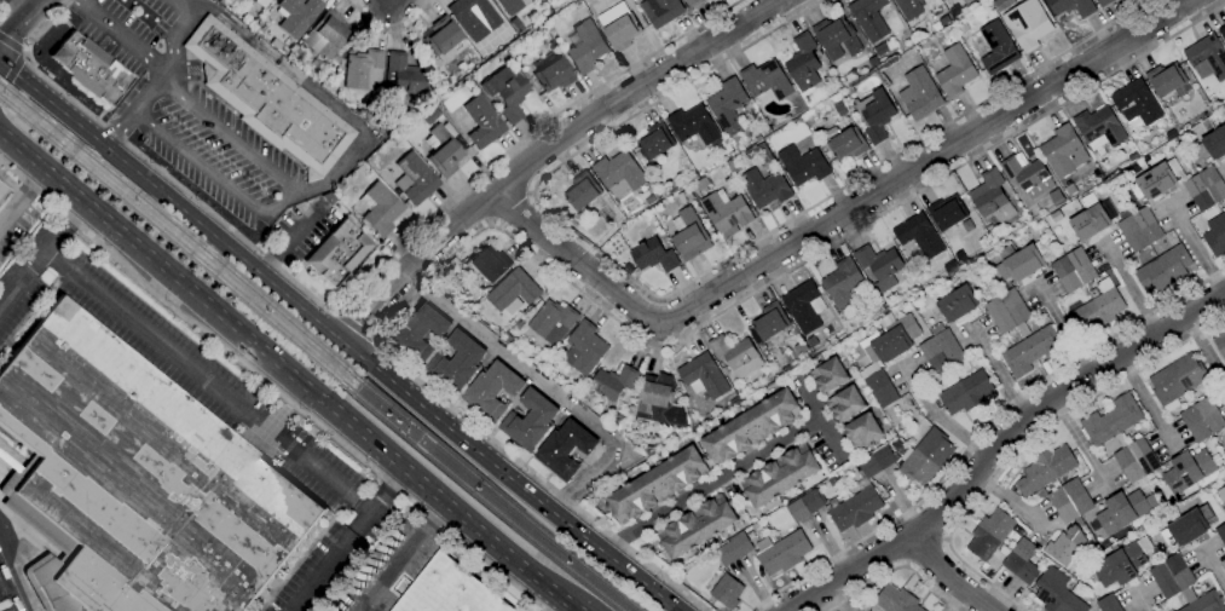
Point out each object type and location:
building: (252, 0)
building: (937, 0)
road: (391, 1)
building: (692, 2)
building: (1103, 2)
gas station: (4, 4)
building: (1001, 4)
road: (25, 6)
building: (510, 6)
building: (1071, 6)
road: (7, 8)
building: (908, 8)
building: (660, 11)
building: (297, 15)
building: (473, 17)
building: (868, 18)
road: (22, 24)
building: (1027, 24)
building: (618, 27)
building: (963, 28)
parking lot: (128, 30)
road: (388, 31)
building: (1221, 31)
building: (327, 35)
building: (441, 36)
road: (126, 38)
building: (836, 38)
road: (11, 45)
building: (276, 45)
building: (585, 47)
building: (996, 47)
building: (879, 50)
road: (25, 53)
building: (1207, 56)
building: (802, 63)
building: (91, 68)
building: (362, 68)
road: (11, 71)
building: (954, 71)
building: (404, 74)
building: (554, 75)
road: (167, 76)
building: (1165, 79)
building: (765, 80)
building: (919, 93)
building: (510, 98)
building: (267, 99)
road: (48, 103)
building: (1136, 103)
building: (727, 106)
building: (839, 110)
building: (873, 115)
building: (429, 116)
building: (483, 122)
building: (692, 125)
building: (1099, 126)
road: (231, 138)
building: (654, 142)
building: (1215, 143)
building: (846, 145)
road: (544, 150)
building: (1061, 150)
building: (443, 151)
parking lot: (220, 152)
building: (763, 152)
building: (802, 165)
building: (730, 166)
road: (336, 169)
building: (619, 172)
building: (1023, 173)
road: (214, 174)
building: (416, 178)
building: (700, 183)
building: (1173, 184)
building: (1212, 184)
building: (764, 188)
building: (582, 191)
building: (2, 192)
building: (683, 196)
road: (23, 197)
building: (990, 197)
building: (1056, 197)
building: (329, 198)
building: (649, 200)
road: (510, 208)
building: (381, 209)
building: (724, 212)
building: (946, 213)
road: (832, 218)
building: (1088, 221)
building: (1146, 225)
railway: (181, 234)
building: (1131, 235)
building: (689, 236)
building: (918, 236)
building: (1215, 236)
road: (291, 241)
railway: (177, 247)
building: (336, 253)
road: (1200, 254)
road: (42, 255)
building: (653, 255)
building: (878, 261)
building: (489, 264)
building: (1019, 264)
building: (1080, 266)
building: (949, 267)
building: (1163, 270)
building: (1065, 275)
road: (686, 282)
building: (842, 284)
building: (513, 290)
road: (1131, 292)
road: (351, 299)
building: (957, 304)
building: (802, 306)
building: (1098, 307)
road: (606, 313)
building: (551, 318)
building: (769, 322)
road: (358, 323)
road: (354, 329)
building: (417, 333)
road: (1064, 333)
building: (1021, 334)
building: (505, 338)
building: (892, 340)
building: (1219, 344)
building: (585, 347)
building: (948, 347)
building: (732, 351)
road: (1204, 351)
building: (932, 357)
building: (456, 363)
road: (288, 370)
road: (1001, 374)
building: (703, 375)
building: (827, 375)
road: (385, 379)
building: (1177, 379)
road: (207, 381)
building: (613, 382)
road: (271, 386)
road: (544, 387)
building: (879, 388)
building: (491, 391)
building: (965, 393)
building: (658, 402)
road: (1144, 403)
building: (845, 404)
road: (941, 417)
building: (1201, 420)
building: (528, 421)
building: (1110, 421)
building: (750, 427)
road: (822, 430)
road: (982, 430)
building: (1224, 430)
building: (861, 431)
road: (996, 443)
road: (1028, 443)
road: (1079, 443)
railway: (440, 449)
building: (564, 449)
building: (648, 451)
building: (924, 457)
railway: (432, 459)
building: (1136, 460)
building: (876, 462)
building: (1045, 469)
building: (1185, 473)
building: (779, 475)
building: (135, 482)
building: (657, 485)
building: (1224, 486)
road: (709, 488)
road: (1006, 500)
building: (1069, 501)
building: (804, 506)
building: (855, 509)
building: (1120, 512)
building: (695, 526)
building: (1186, 528)
building: (989, 534)
building: (1220, 534)
road: (346, 538)
building: (733, 549)
building: (1062, 549)
building: (781, 553)
road: (925, 553)
road: (403, 557)
railway: (580, 561)
building: (1021, 561)
building: (1119, 565)
railway: (567, 567)
road: (18, 569)
road: (1212, 569)
road: (895, 571)
building: (1171, 576)
road: (947, 577)
building: (447, 590)
building: (726, 592)
building: (1056, 593)
road: (1139, 599)
building: (895, 600)
road: (954, 600)
road: (550, 603)
building: (1204, 603)
building: (1106, 604)

